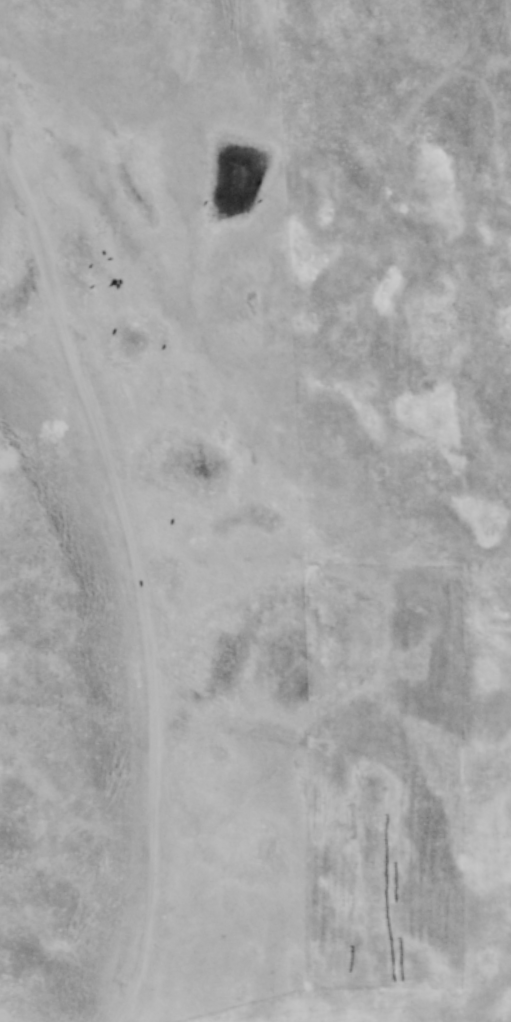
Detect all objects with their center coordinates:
road: (135, 583)

